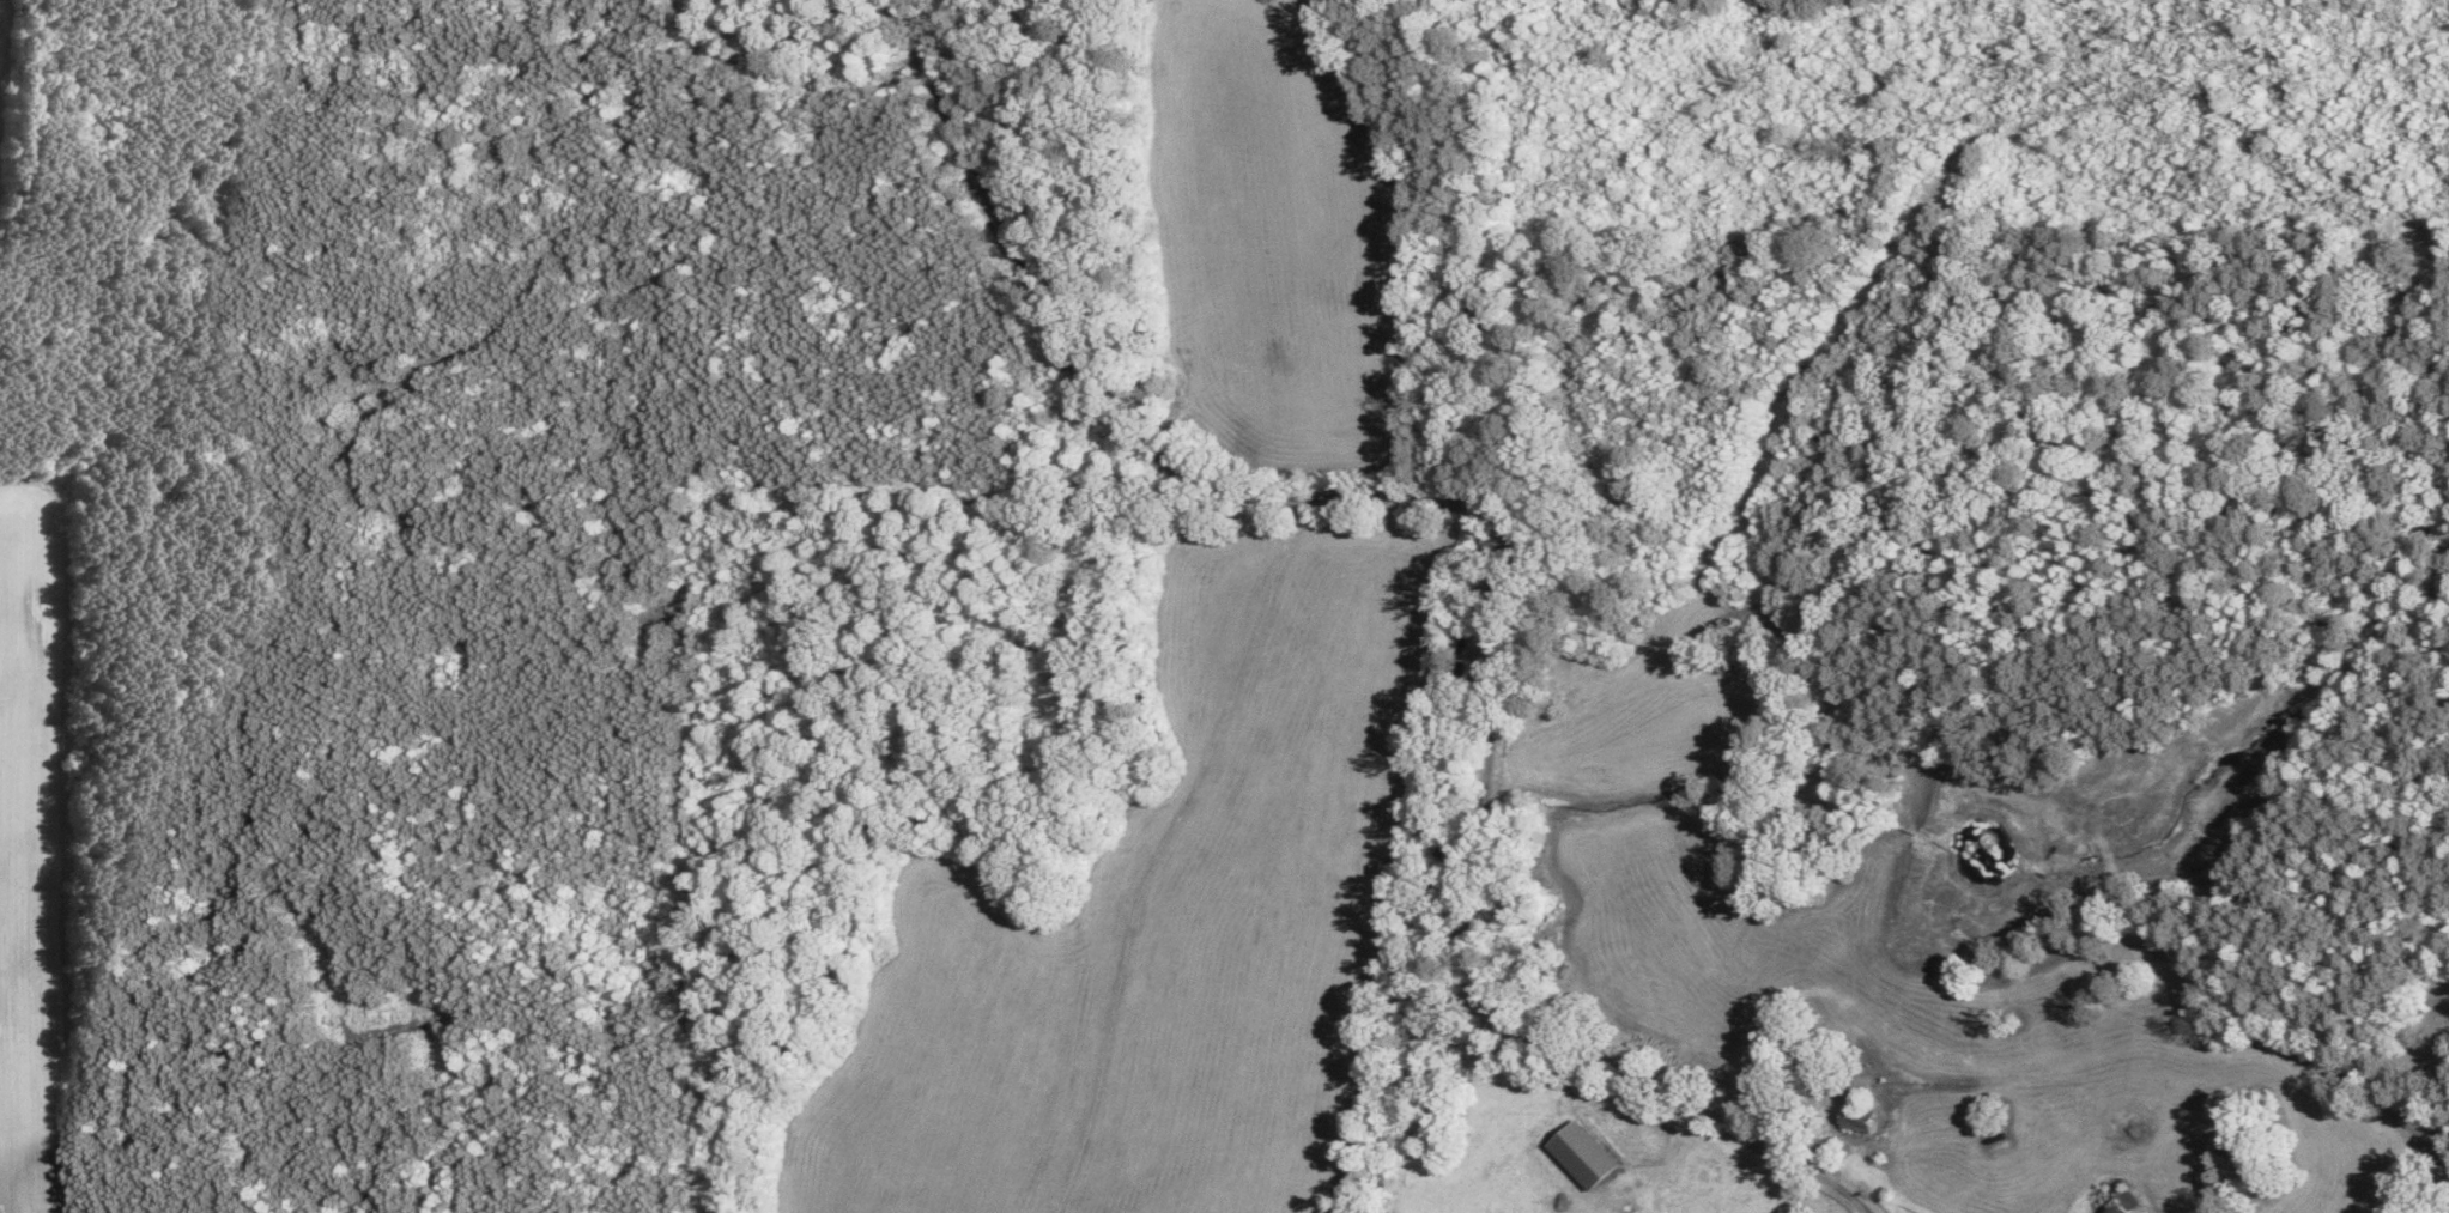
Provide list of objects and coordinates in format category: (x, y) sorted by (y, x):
road: (1510, 532)
building: (1575, 1157)

